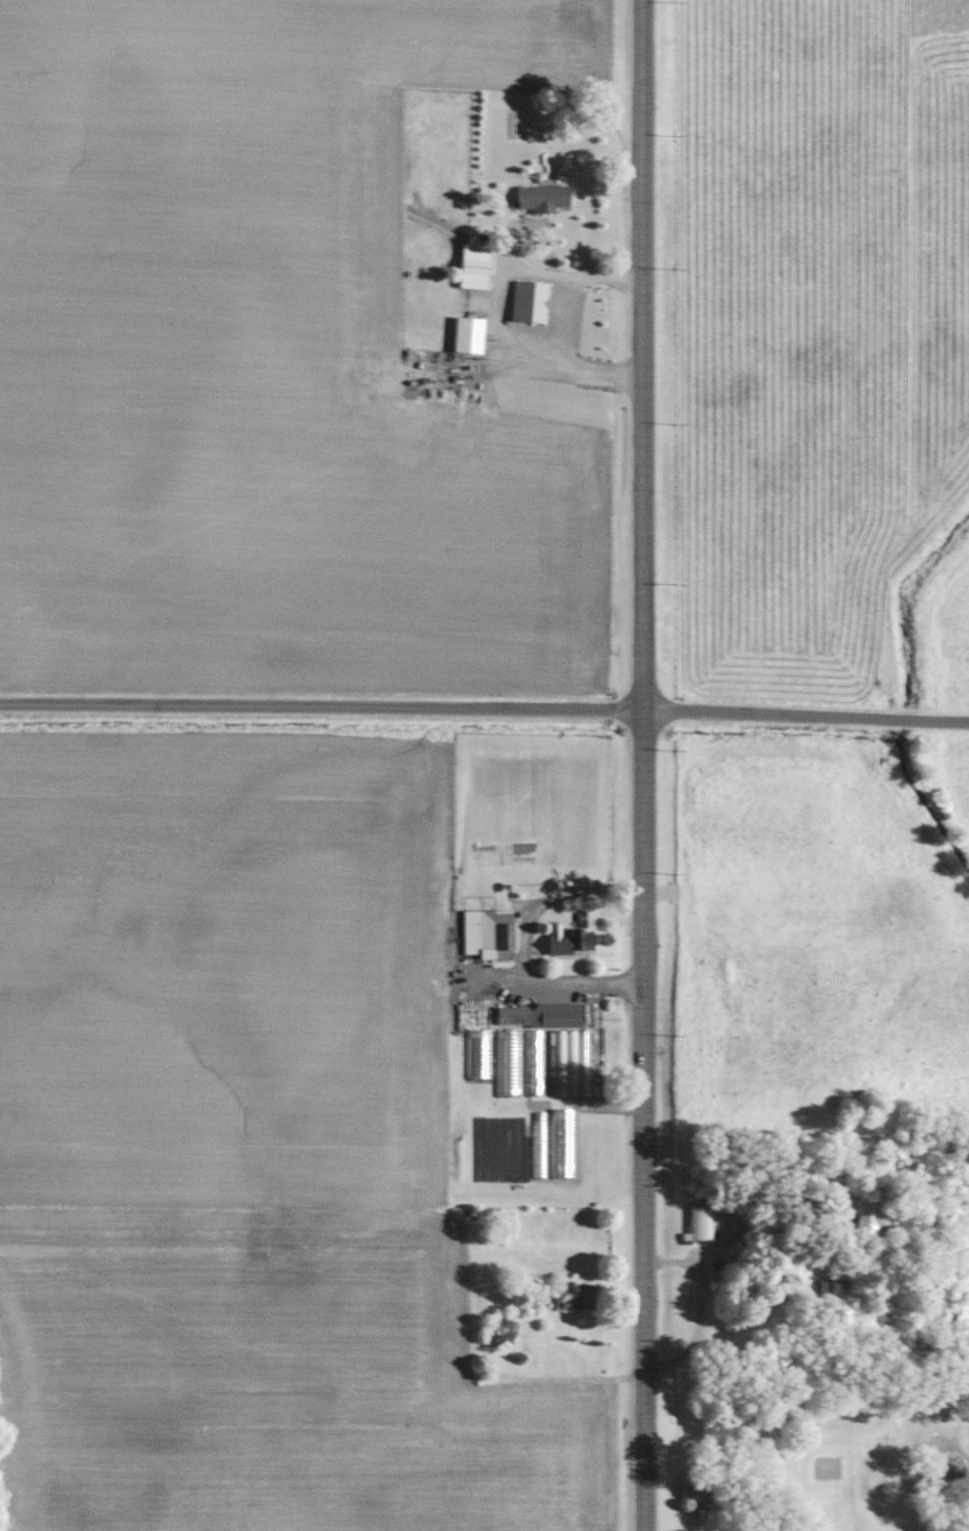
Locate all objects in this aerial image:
building: (543, 199)
building: (476, 259)
building: (531, 301)
road: (493, 308)
road: (570, 321)
building: (469, 335)
road: (484, 706)
road: (643, 765)
building: (489, 934)
building: (574, 942)
road: (521, 952)
building: (540, 1016)
building: (509, 1062)
building: (557, 1063)
building: (871, 1212)
building: (708, 1222)
building: (832, 1288)
building: (586, 1297)
road: (698, 1313)
building: (502, 1332)
building: (697, 1493)

